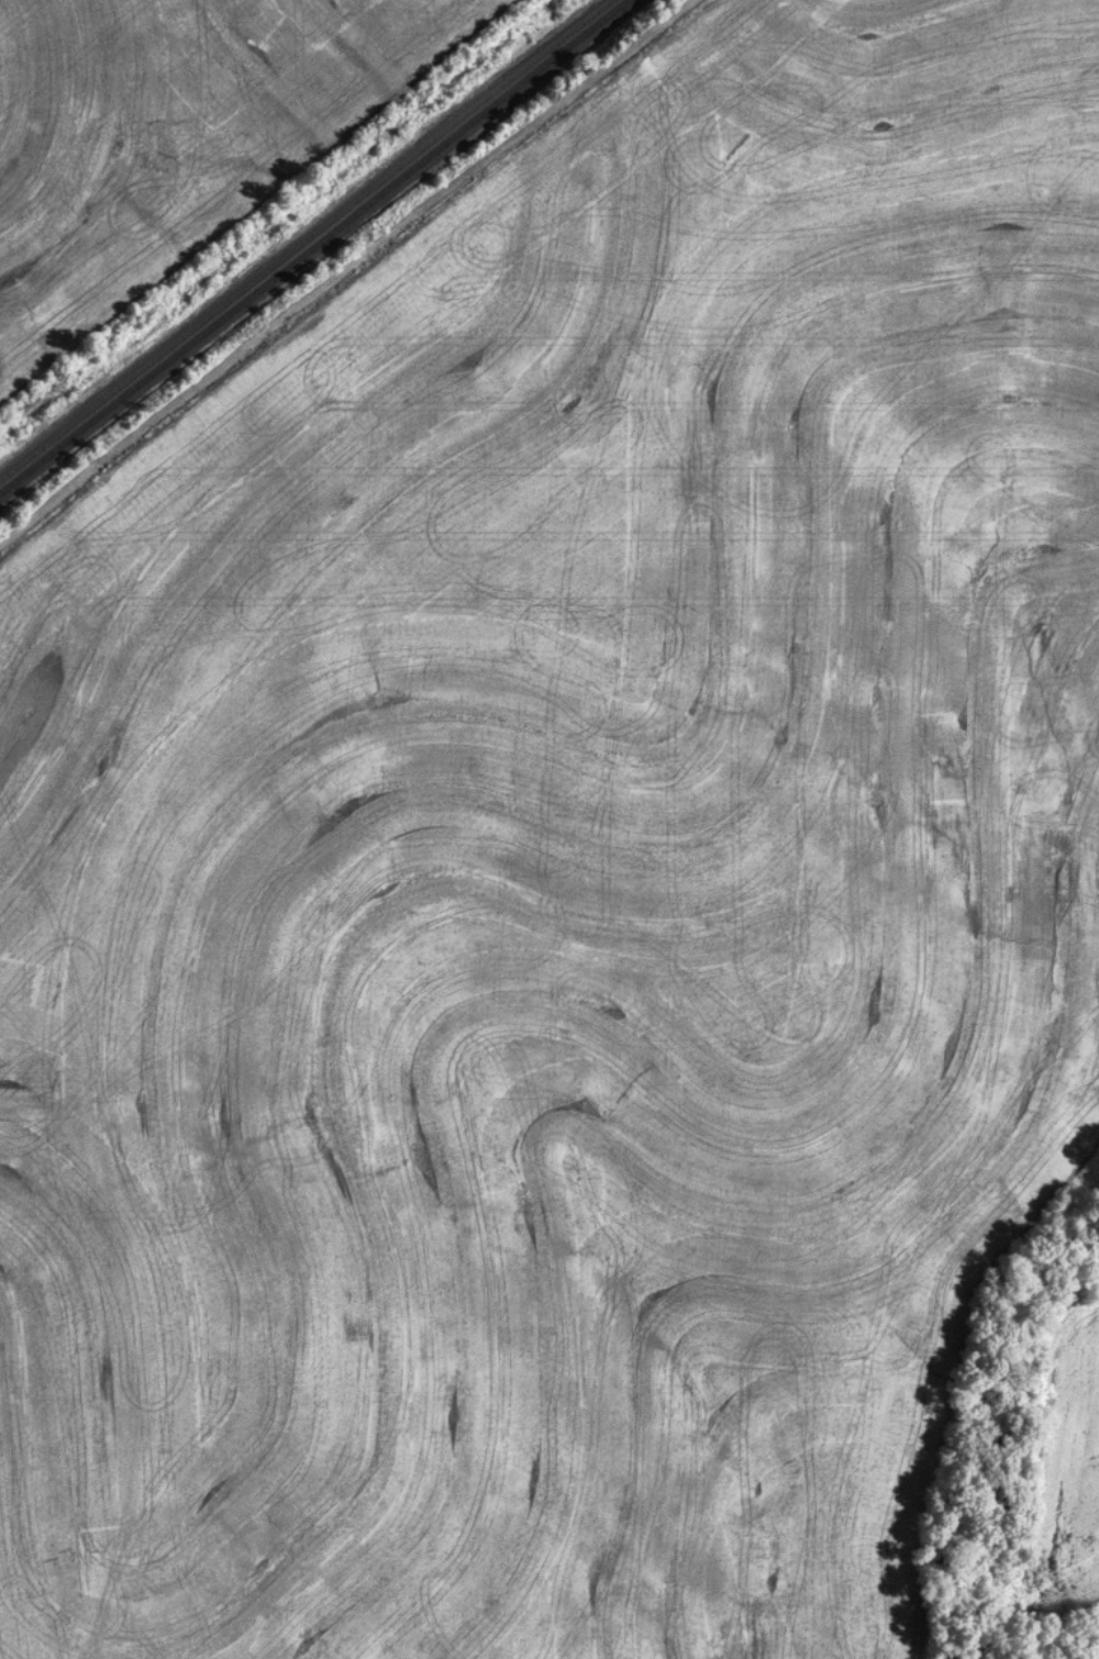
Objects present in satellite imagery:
railway: (304, 238)
railway: (314, 246)

